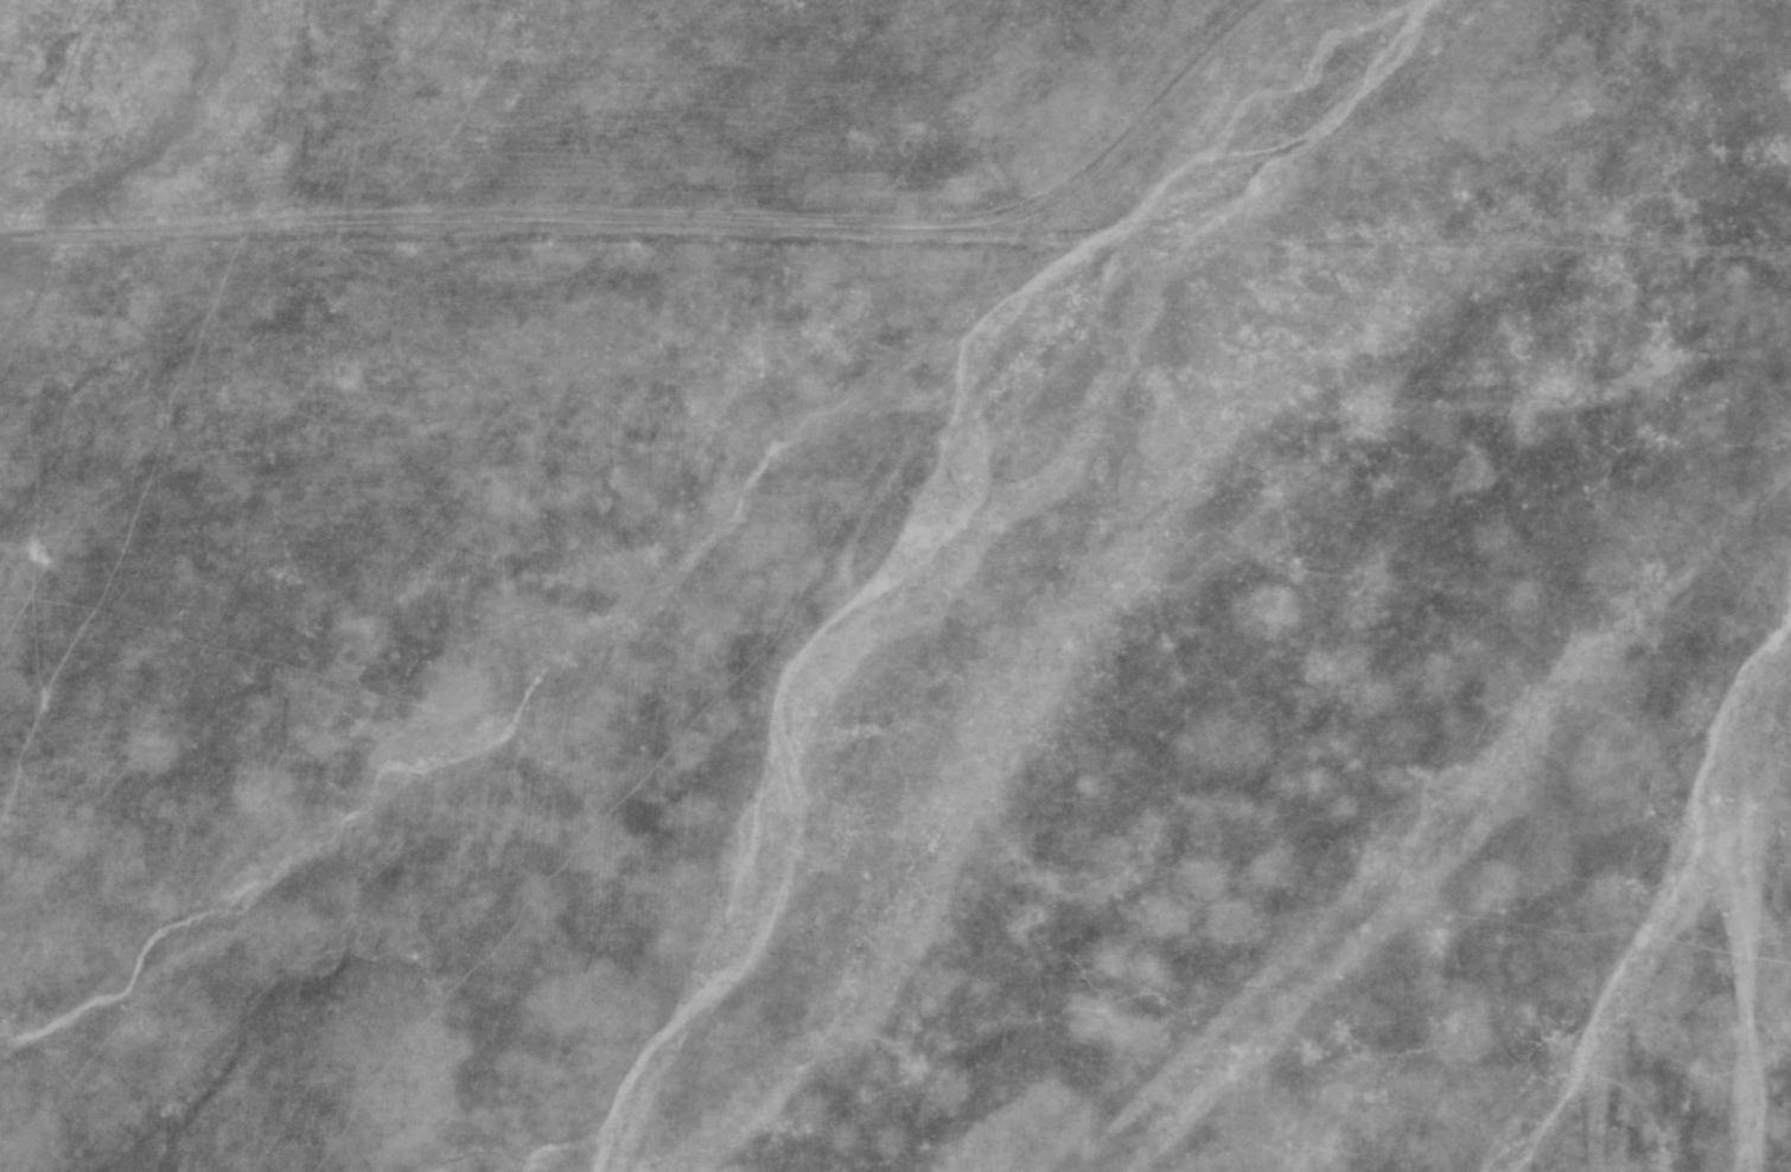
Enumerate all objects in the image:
road: (677, 221)

